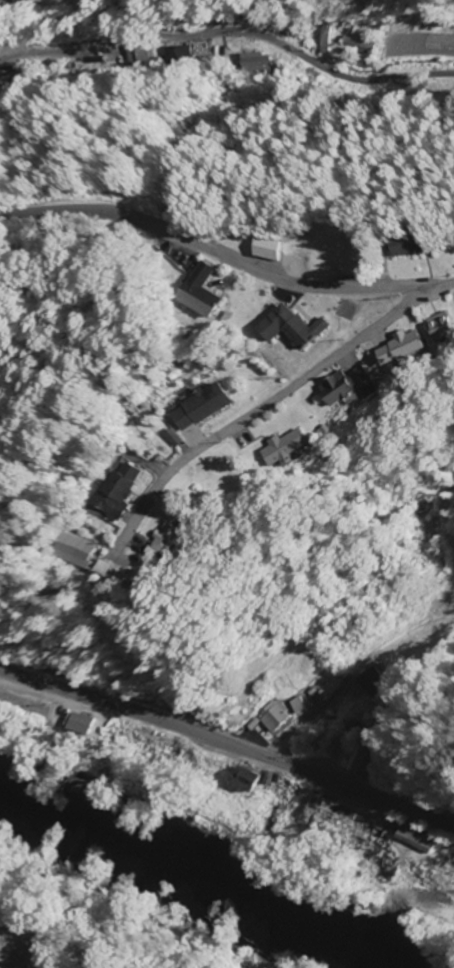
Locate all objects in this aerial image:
building: (6, 6)
road: (50, 25)
road: (231, 32)
building: (257, 63)
building: (417, 246)
building: (279, 250)
road: (225, 258)
building: (204, 293)
building: (443, 326)
building: (295, 328)
building: (404, 348)
building: (349, 387)
road: (264, 406)
building: (209, 407)
building: (288, 449)
building: (122, 493)
building: (170, 542)
building: (84, 551)
road: (346, 674)
building: (300, 707)
building: (274, 718)
building: (85, 724)
road: (229, 746)
building: (337, 812)
building: (412, 843)
river: (192, 890)

